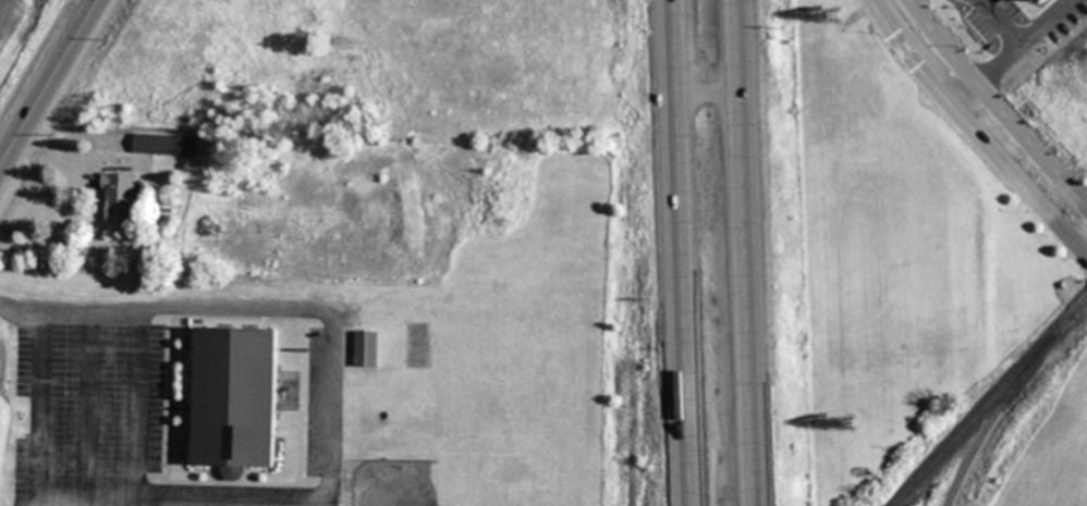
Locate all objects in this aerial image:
building: (1031, 1)
road: (1011, 50)
road: (48, 83)
road: (710, 86)
road: (997, 100)
road: (978, 129)
building: (174, 144)
building: (119, 197)
road: (677, 252)
road: (746, 252)
crop: (899, 252)
road: (260, 306)
building: (365, 349)
street lamp: (64, 393)
street lamp: (114, 395)
building: (233, 398)
railway: (987, 399)
road: (39, 406)
road: (88, 407)
road: (139, 408)
railway: (990, 418)
parking lot: (138, 421)
road: (139, 503)

